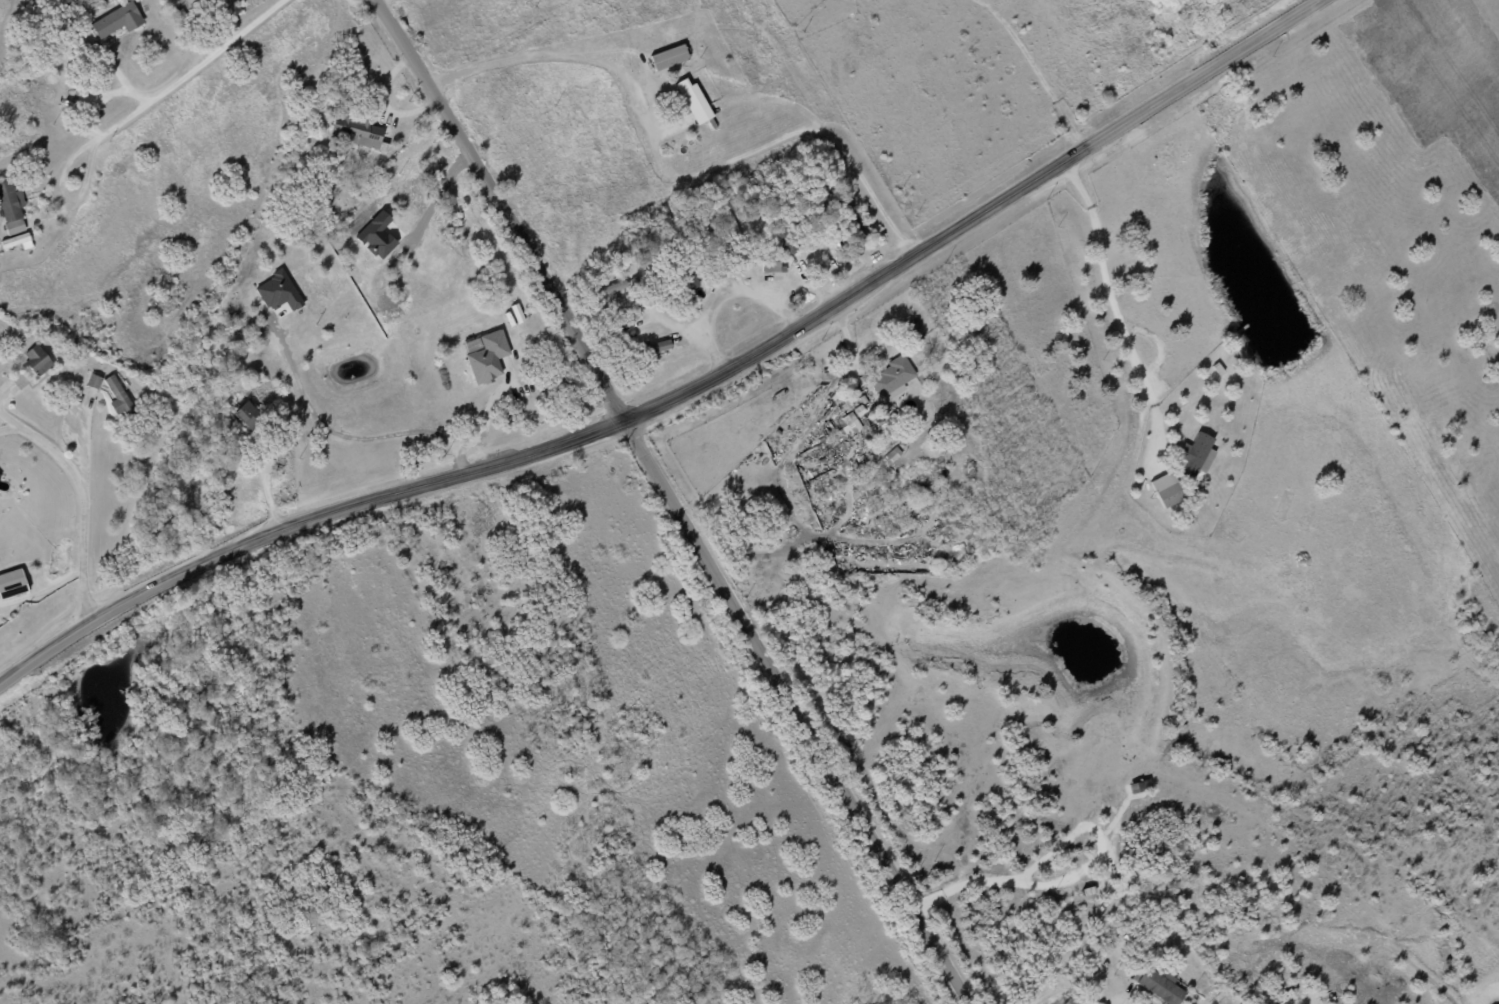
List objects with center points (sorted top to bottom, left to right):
building: (208, 1)
building: (117, 20)
building: (669, 57)
road: (185, 73)
building: (694, 100)
building: (357, 131)
road: (667, 178)
building: (11, 208)
road: (500, 208)
building: (377, 235)
building: (17, 241)
building: (770, 266)
road: (727, 287)
building: (278, 291)
road: (1104, 306)
building: (517, 313)
road: (672, 323)
road: (285, 339)
building: (658, 346)
building: (488, 357)
building: (37, 359)
building: (892, 378)
building: (94, 380)
road: (685, 393)
building: (118, 395)
road: (486, 410)
building: (249, 413)
building: (1195, 456)
building: (1167, 489)
road: (77, 501)
building: (12, 583)
road: (793, 712)
building: (1158, 984)
road: (1065, 990)

